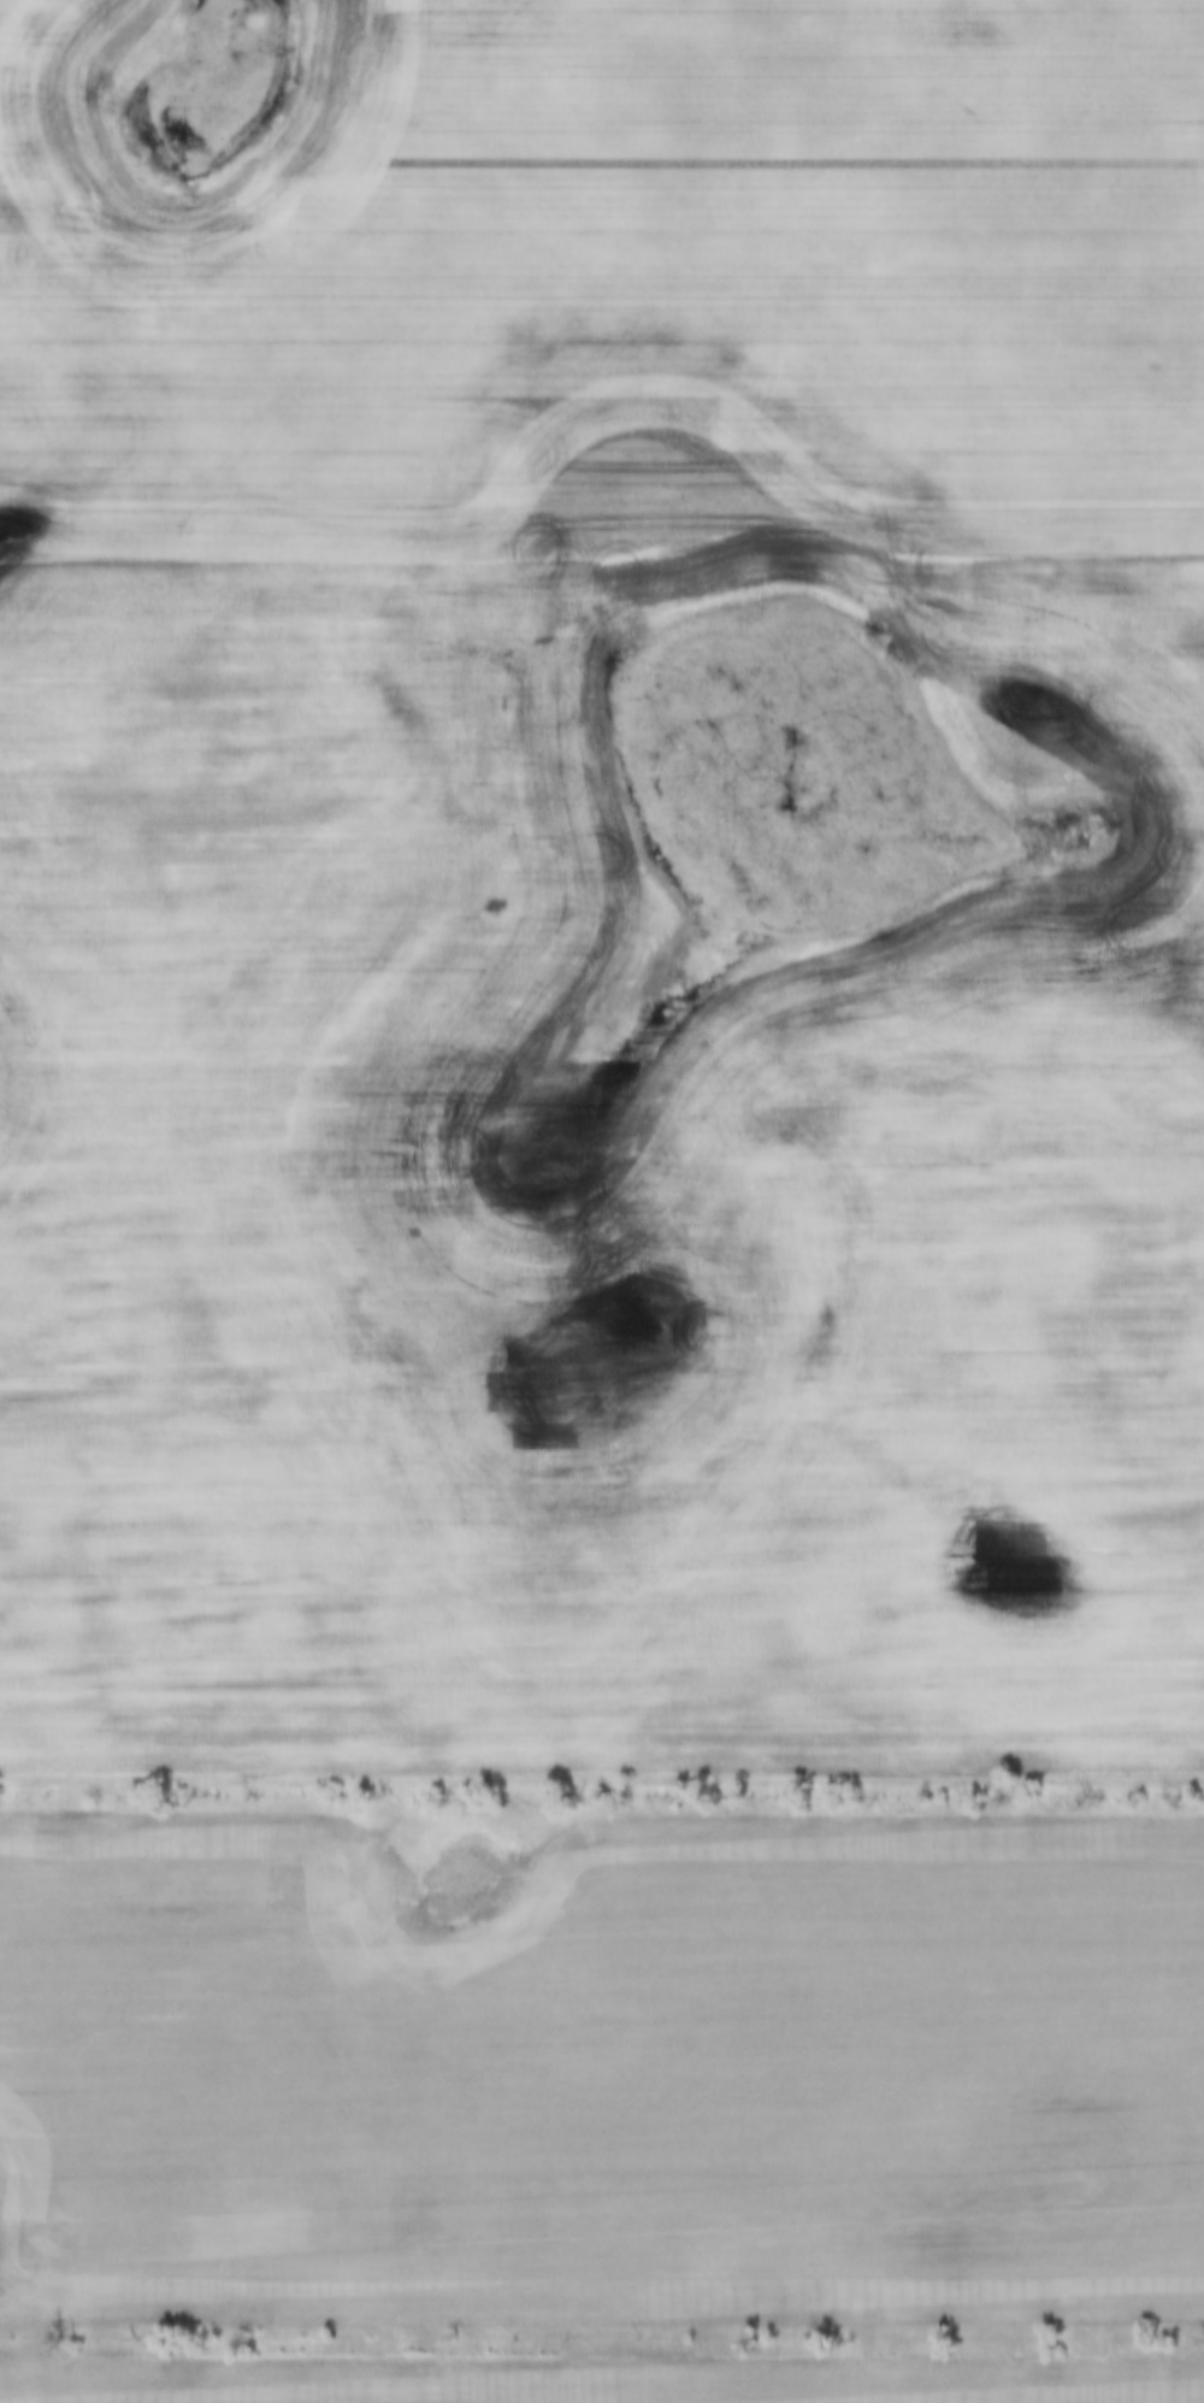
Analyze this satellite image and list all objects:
road: (602, 1768)

